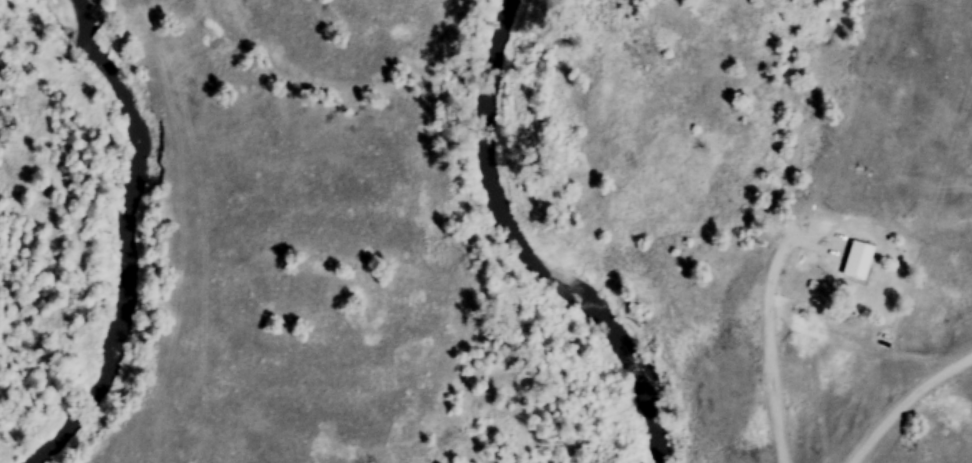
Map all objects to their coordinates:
river: (125, 233)
river: (522, 252)
building: (855, 259)
road: (766, 346)
road: (906, 407)

